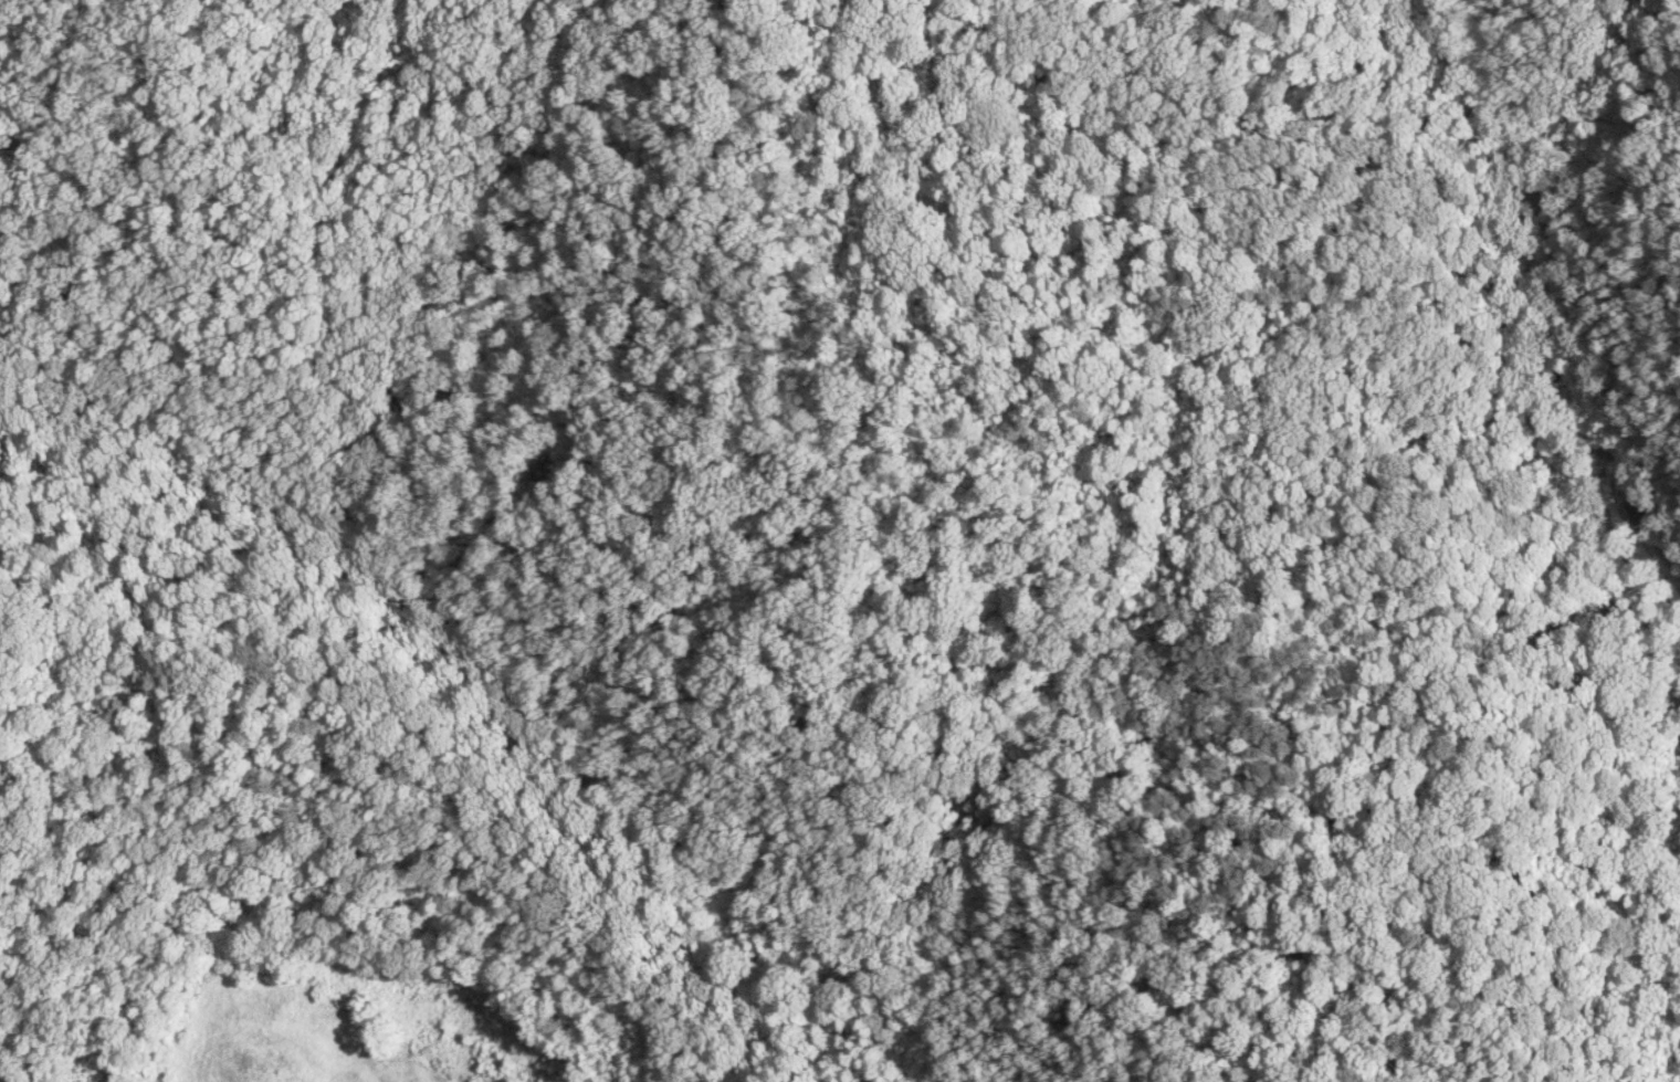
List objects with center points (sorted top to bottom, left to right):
building: (1636, 513)

